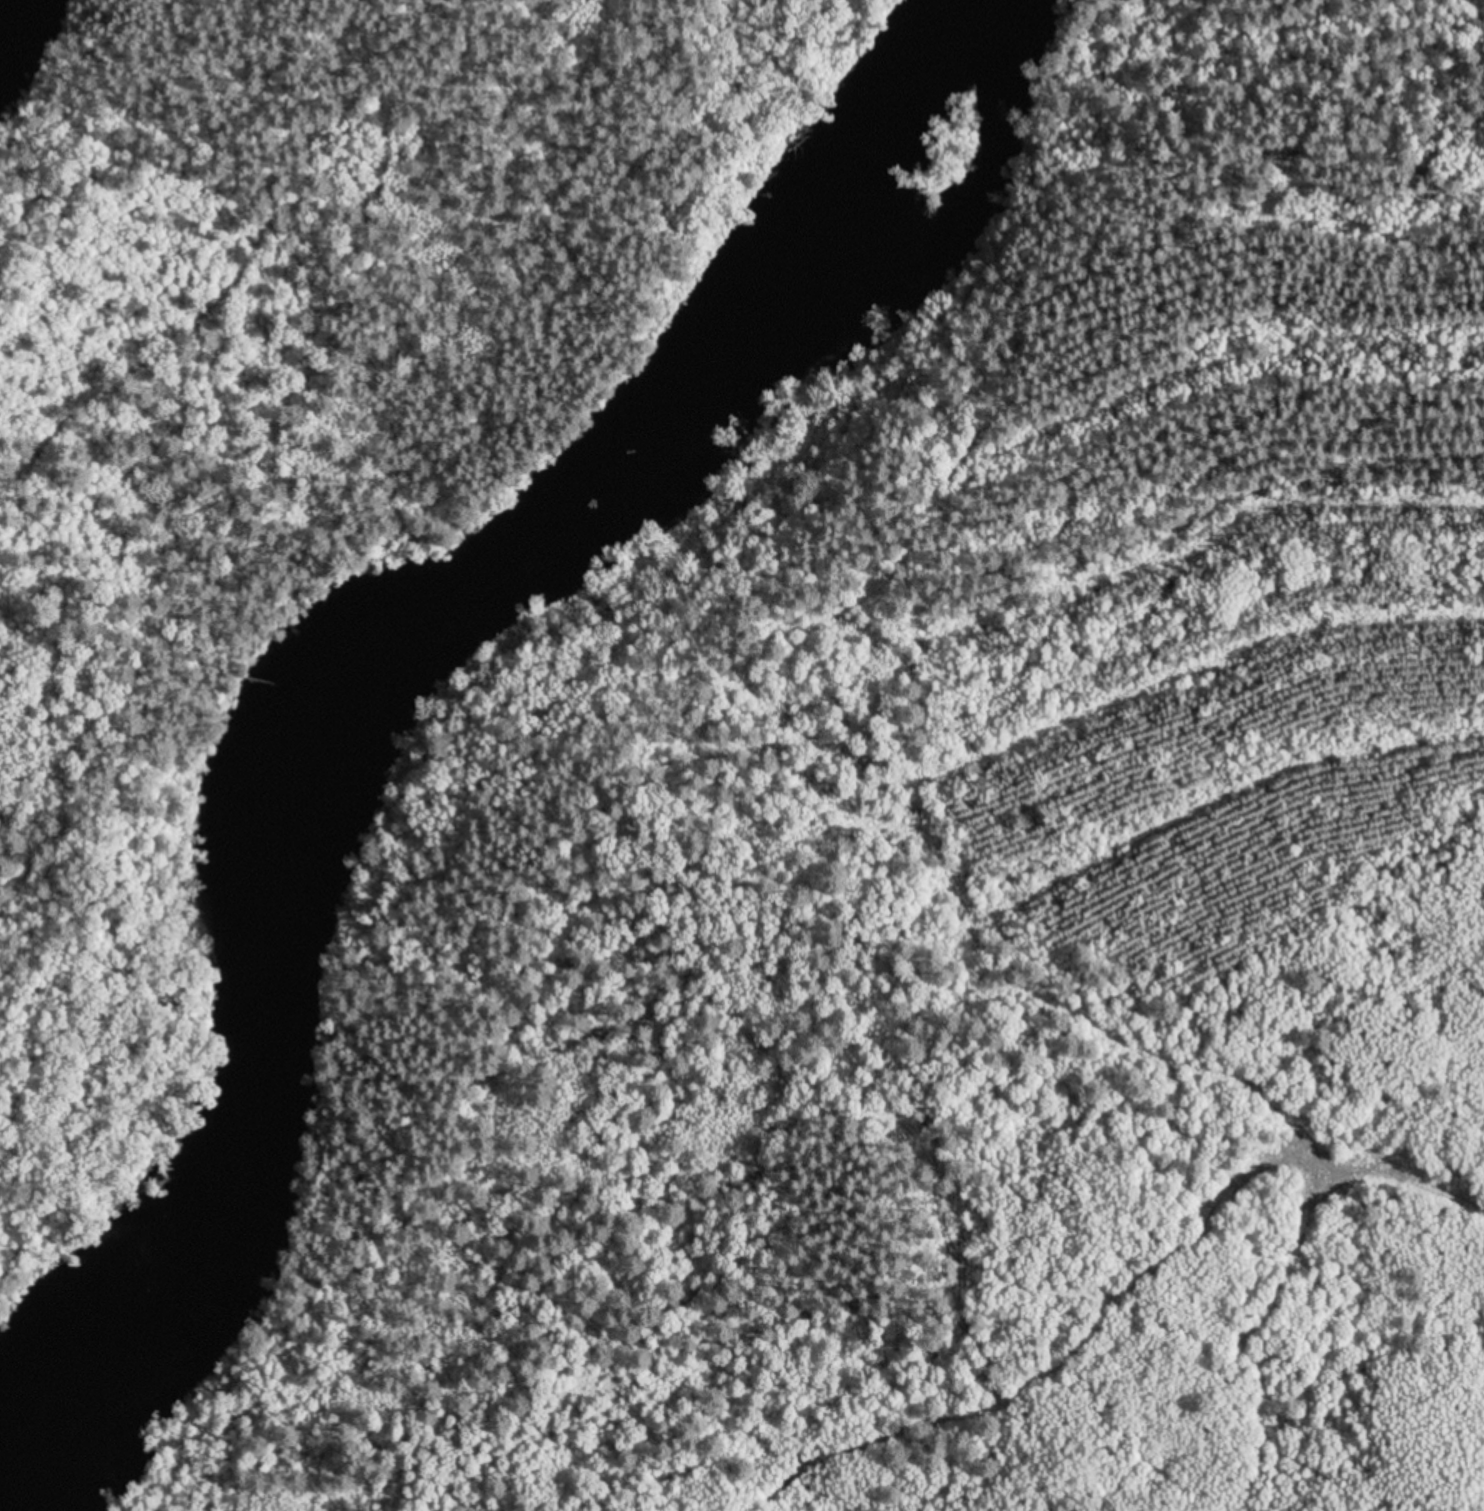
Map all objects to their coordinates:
river: (346, 646)

